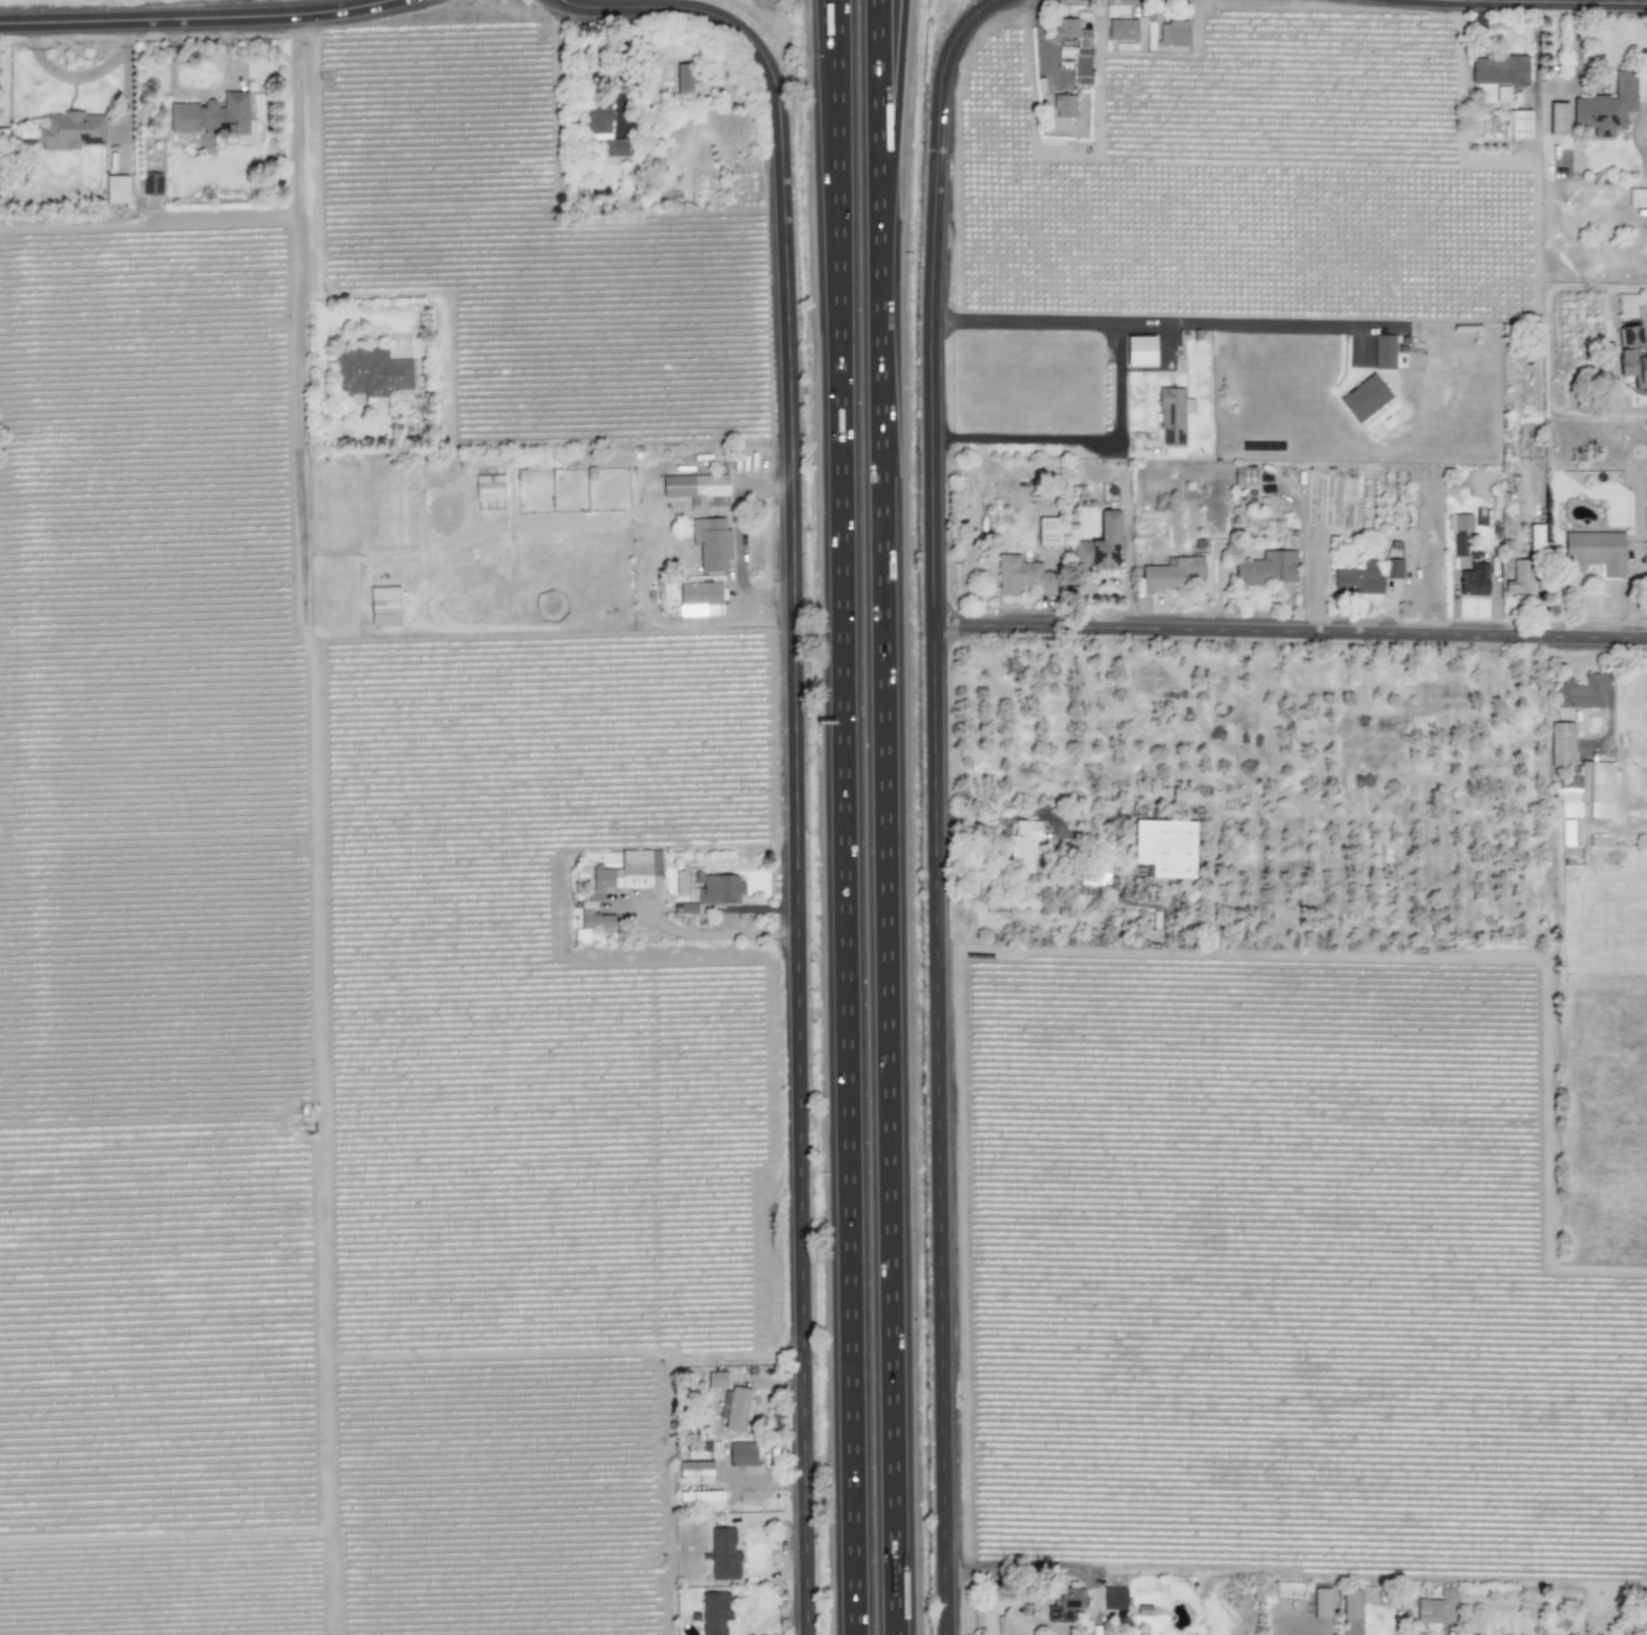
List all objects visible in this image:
road: (1547, 1)
road: (829, 2)
road: (196, 18)
building: (1121, 29)
road: (1039, 30)
building: (1172, 34)
building: (1075, 47)
road: (1552, 50)
road: (620, 65)
building: (1498, 69)
building: (684, 79)
road: (897, 82)
building: (1502, 93)
building: (1063, 106)
building: (1607, 106)
building: (215, 118)
building: (1558, 118)
building: (1519, 124)
building: (71, 131)
building: (602, 132)
road: (309, 152)
building: (116, 190)
building: (1637, 197)
building: (1630, 335)
building: (1138, 350)
building: (1383, 352)
building: (371, 373)
building: (1364, 398)
road: (1636, 409)
building: (1173, 414)
road: (1026, 443)
building: (1145, 444)
building: (1244, 476)
building: (488, 487)
building: (698, 489)
building: (1459, 522)
building: (1048, 532)
building: (1535, 538)
road: (740, 541)
building: (711, 542)
building: (1099, 545)
building: (1458, 545)
building: (1594, 552)
building: (1266, 569)
building: (1392, 569)
building: (1172, 575)
building: (1021, 576)
building: (1519, 577)
building: (1358, 578)
building: (1473, 580)
building: (700, 599)
road: (1290, 634)
building: (1581, 692)
road: (797, 736)
building: (1561, 749)
building: (1587, 792)
road: (936, 807)
road: (846, 817)
road: (886, 817)
building: (1022, 846)
building: (1164, 847)
building: (622, 872)
building: (1094, 877)
building: (719, 890)
building: (688, 908)
building: (595, 917)
road: (718, 934)
building: (582, 935)
building: (737, 1409)
building: (742, 1454)
building: (697, 1470)
road: (766, 1481)
building: (700, 1497)
building: (725, 1555)
road: (1014, 1572)
building: (1114, 1598)
building: (1320, 1602)
building: (1065, 1605)
building: (1435, 1608)
building: (715, 1612)

